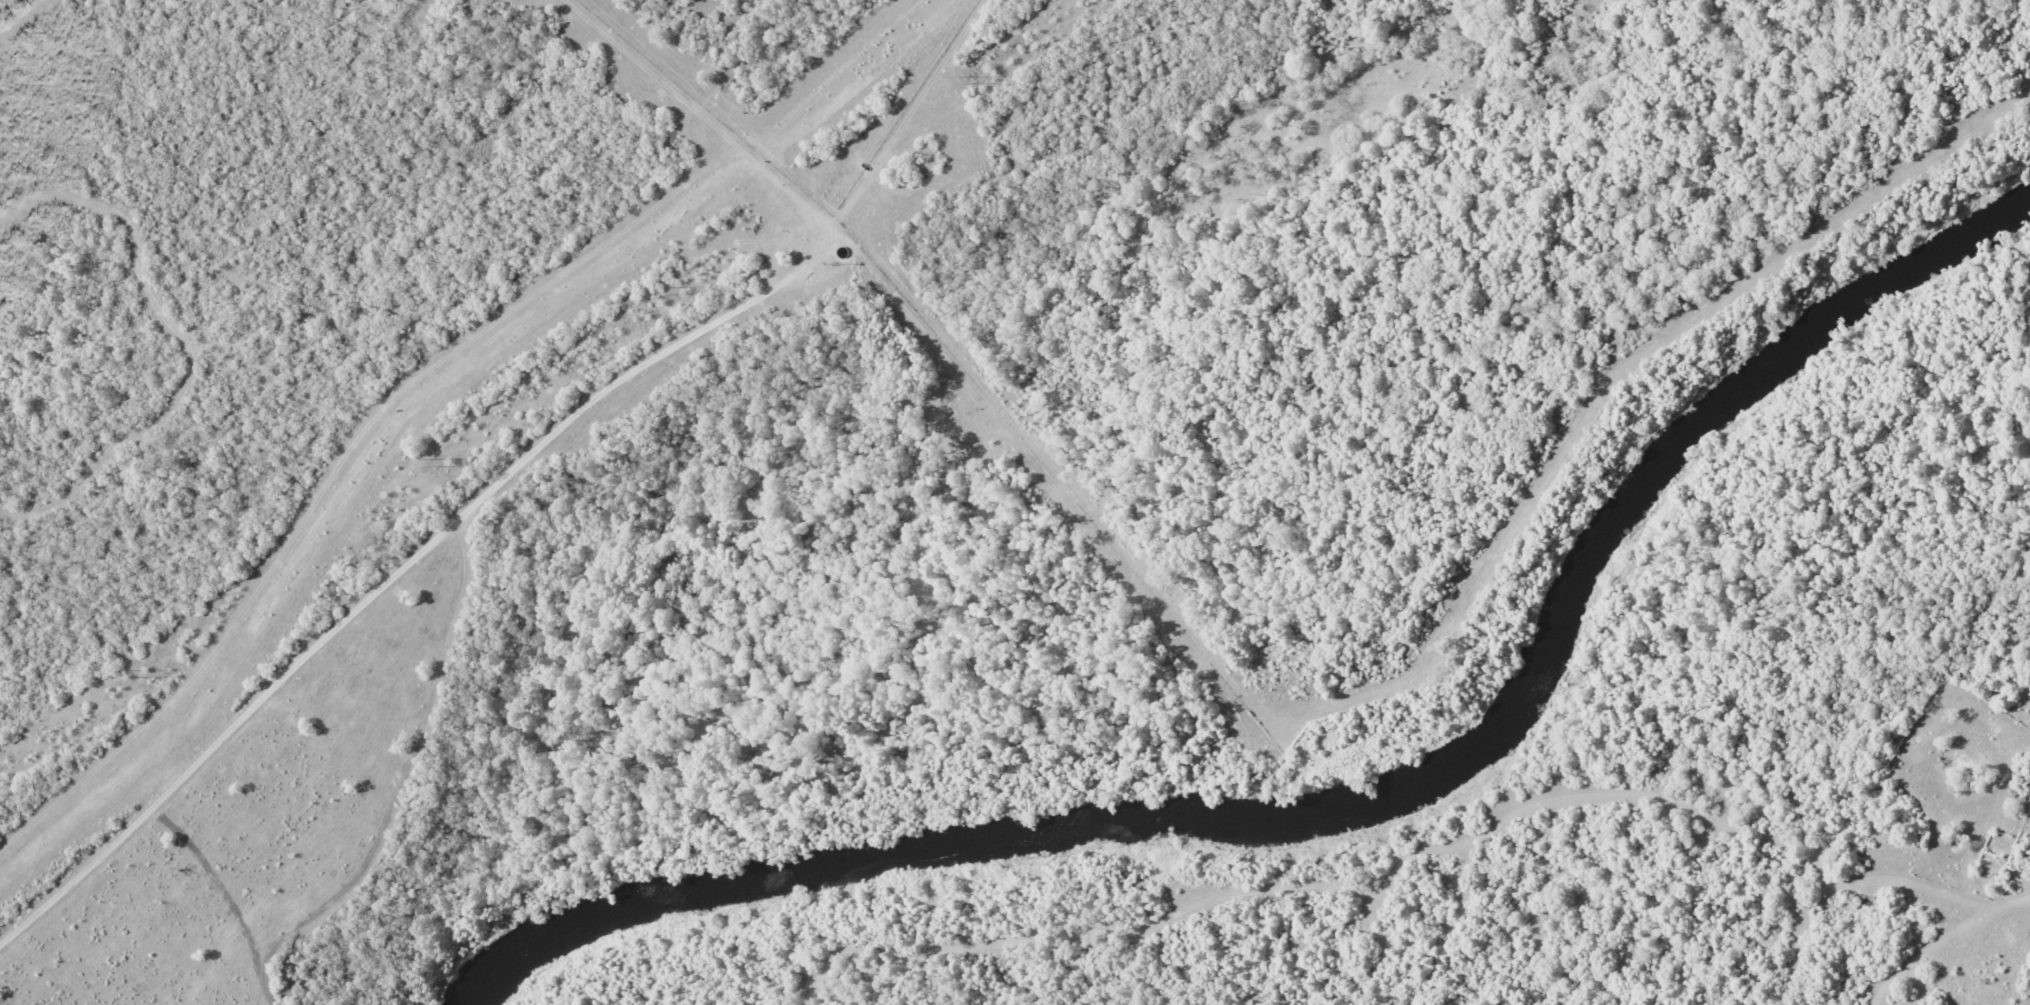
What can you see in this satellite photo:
power tower: (970, 79)
power tower: (675, 289)
power tower: (435, 462)
power tower: (141, 672)
river: (1359, 800)

